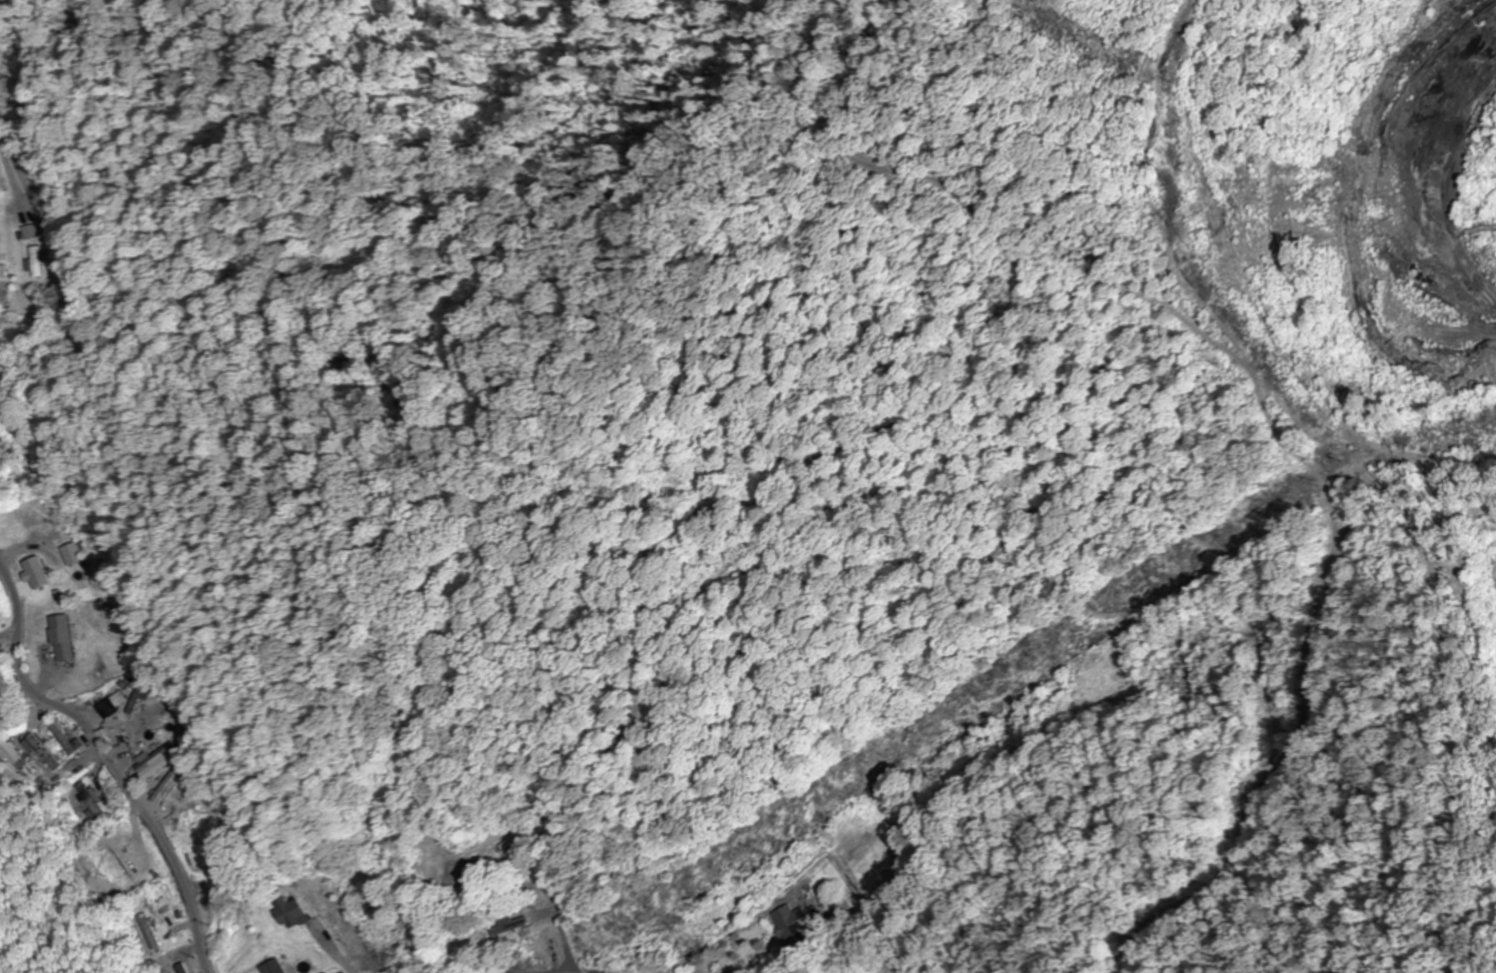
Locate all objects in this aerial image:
building: (29, 231)
building: (36, 261)
building: (74, 553)
building: (39, 573)
building: (64, 637)
building: (127, 733)
building: (63, 739)
building: (158, 744)
building: (46, 752)
road: (109, 768)
building: (168, 784)
building: (93, 802)
building: (516, 849)
building: (130, 860)
building: (290, 911)
building: (783, 917)
building: (511, 926)
road: (557, 969)
road: (621, 969)
road: (578, 970)
building: (331, 972)

